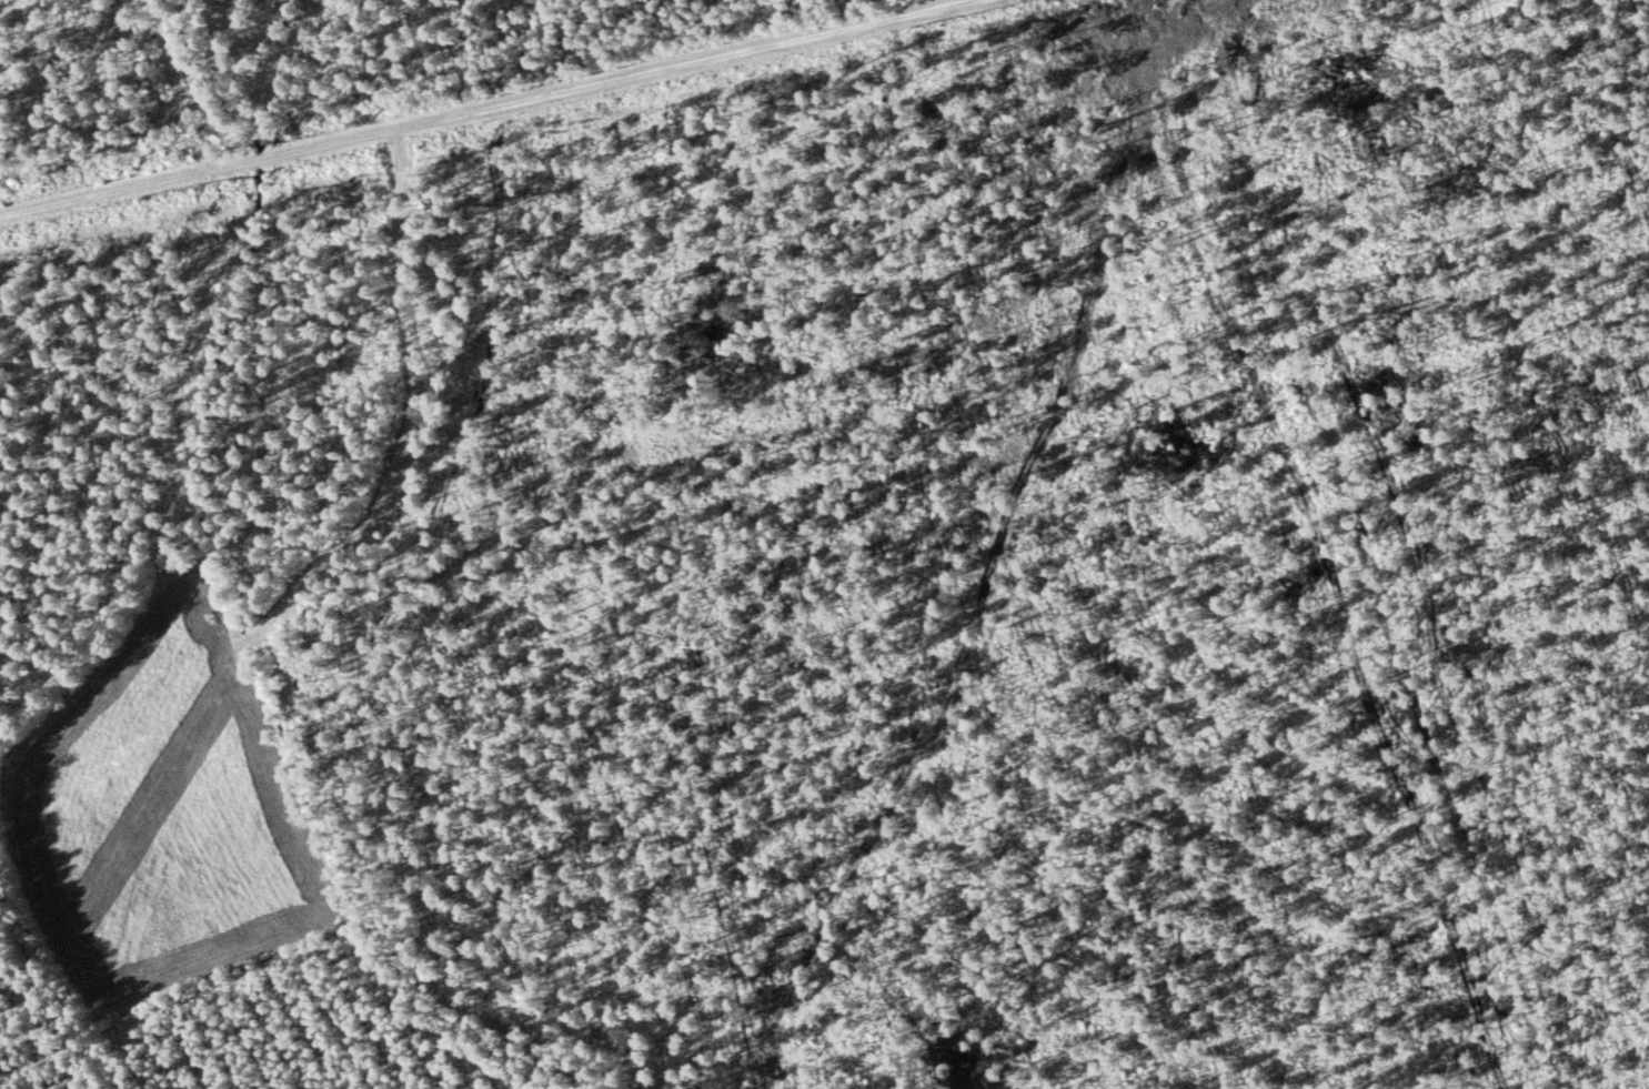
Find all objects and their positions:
road: (600, 134)

